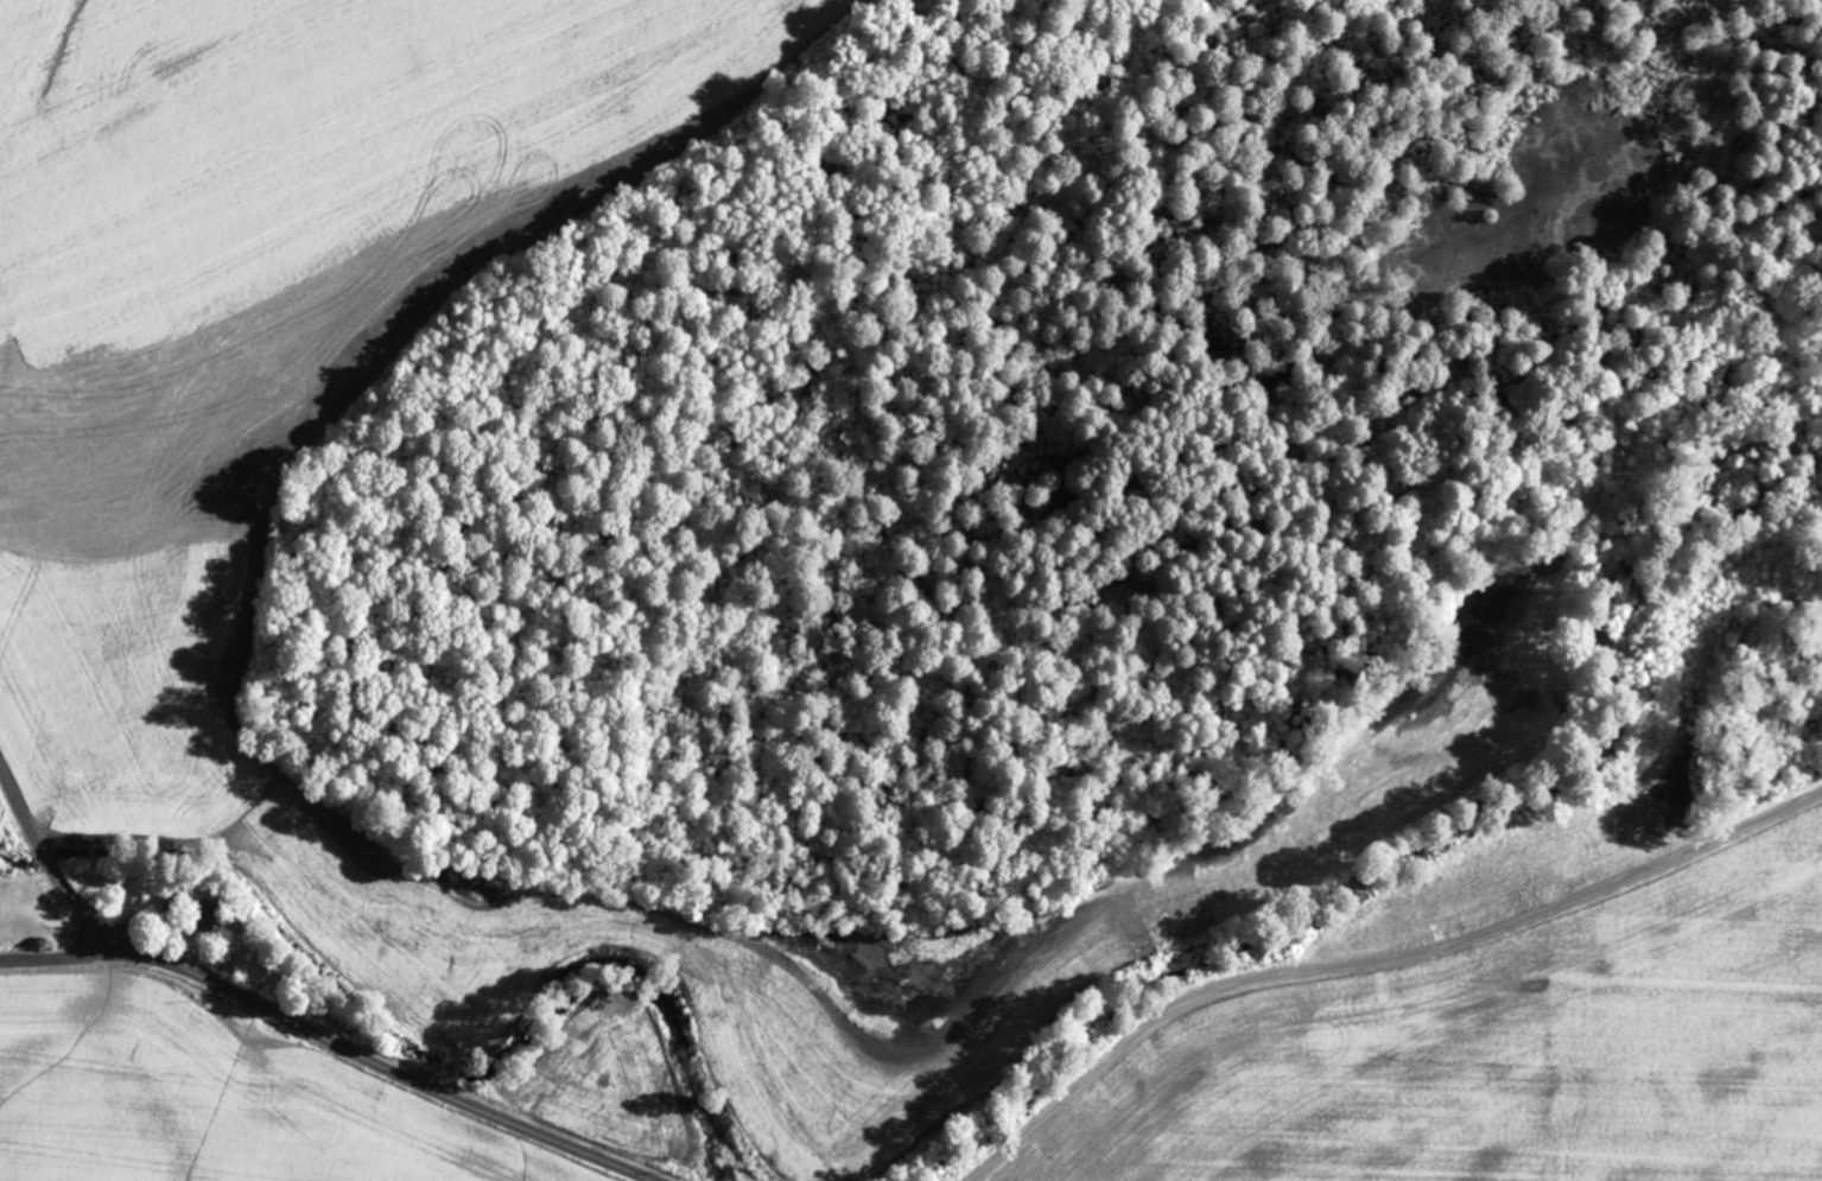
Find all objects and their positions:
road: (56, 872)
road: (1380, 955)
road: (74, 957)
road: (399, 1072)

